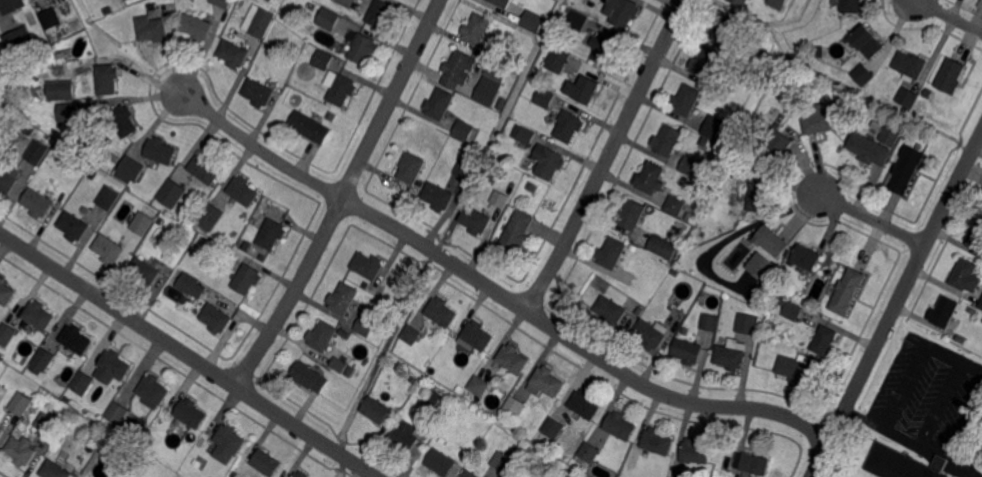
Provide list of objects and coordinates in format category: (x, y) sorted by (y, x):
building: (269, 0)
building: (347, 2)
building: (742, 2)
building: (224, 3)
building: (496, 3)
building: (779, 3)
building: (12, 5)
building: (850, 5)
building: (152, 6)
building: (311, 7)
building: (620, 11)
building: (379, 13)
road: (948, 16)
building: (50, 19)
building: (328, 19)
building: (574, 19)
building: (531, 20)
building: (262, 22)
building: (723, 26)
building: (196, 27)
building: (476, 28)
building: (151, 29)
building: (846, 38)
building: (18, 40)
building: (868, 40)
building: (361, 47)
building: (604, 47)
building: (820, 50)
building: (764, 51)
building: (233, 53)
building: (488, 58)
building: (556, 59)
building: (323, 60)
building: (706, 62)
building: (720, 65)
building: (911, 65)
building: (458, 70)
building: (864, 74)
building: (951, 75)
building: (107, 78)
building: (342, 89)
building: (587, 89)
building: (488, 90)
building: (61, 92)
building: (258, 92)
building: (928, 92)
building: (908, 96)
building: (544, 97)
building: (687, 99)
building: (501, 102)
building: (439, 103)
building: (68, 111)
building: (822, 118)
building: (124, 121)
building: (304, 123)
building: (569, 126)
building: (714, 126)
building: (322, 127)
building: (30, 128)
building: (463, 130)
building: (4, 132)
building: (514, 134)
building: (525, 135)
building: (890, 136)
building: (668, 140)
building: (777, 145)
building: (160, 150)
building: (869, 150)
building: (37, 153)
road: (608, 156)
building: (549, 163)
building: (690, 165)
building: (410, 167)
building: (131, 168)
building: (204, 168)
building: (907, 168)
building: (463, 169)
building: (93, 173)
building: (8, 177)
building: (650, 177)
building: (492, 178)
building: (533, 187)
building: (243, 191)
building: (171, 193)
road: (342, 196)
building: (437, 196)
building: (759, 196)
building: (108, 197)
building: (498, 197)
building: (38, 203)
building: (675, 205)
building: (86, 210)
building: (632, 214)
building: (210, 215)
building: (688, 215)
road: (872, 218)
building: (475, 219)
building: (159, 220)
building: (142, 223)
building: (73, 225)
building: (517, 231)
building: (272, 233)
building: (976, 238)
building: (772, 240)
building: (659, 244)
building: (247, 245)
building: (633, 247)
building: (109, 248)
building: (611, 253)
building: (790, 253)
building: (262, 256)
building: (808, 257)
building: (368, 265)
building: (762, 267)
building: (144, 272)
building: (676, 272)
building: (966, 275)
building: (247, 279)
building: (187, 283)
road: (496, 291)
building: (6, 292)
building: (379, 292)
building: (848, 292)
building: (343, 298)
road: (896, 303)
building: (980, 304)
building: (791, 309)
building: (972, 309)
building: (610, 310)
building: (441, 311)
building: (638, 313)
building: (39, 314)
building: (946, 314)
building: (216, 318)
building: (709, 322)
building: (747, 323)
building: (365, 327)
building: (342, 331)
building: (7, 333)
building: (650, 333)
building: (411, 334)
building: (322, 335)
building: (478, 335)
building: (765, 337)
building: (76, 338)
building: (721, 339)
building: (824, 340)
building: (687, 351)
road: (916, 353)
building: (1, 354)
road: (188, 355)
building: (731, 355)
building: (43, 358)
building: (513, 358)
building: (115, 363)
building: (338, 364)
building: (427, 364)
building: (433, 368)
building: (349, 370)
building: (799, 370)
building: (309, 377)
building: (546, 381)
building: (83, 382)
building: (479, 385)
building: (152, 391)
building: (439, 401)
building: (21, 403)
road: (941, 403)
building: (584, 404)
building: (489, 405)
building: (515, 406)
building: (376, 410)
building: (117, 413)
building: (191, 413)
building: (52, 422)
building: (619, 425)
building: (553, 427)
building: (2, 430)
building: (403, 435)
road: (969, 438)
building: (656, 440)
road: (911, 441)
building: (225, 443)
building: (55, 447)
building: (22, 449)
building: (531, 451)
building: (695, 451)
building: (586, 454)
building: (102, 457)
building: (265, 462)
building: (440, 462)
building: (503, 462)
building: (196, 463)
building: (755, 463)
building: (902, 463)
building: (55, 470)
building: (301, 474)
building: (470, 474)
building: (548, 475)

